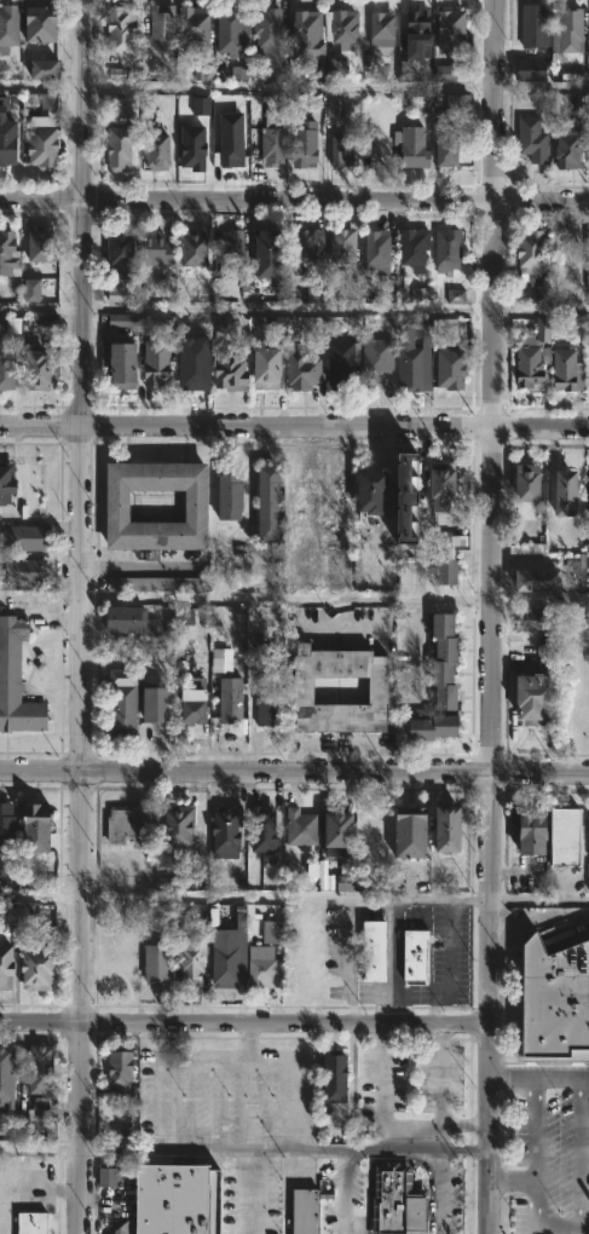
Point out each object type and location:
building: (47, 23)
building: (119, 24)
building: (195, 24)
building: (164, 25)
building: (529, 25)
building: (10, 27)
building: (271, 27)
building: (336, 27)
building: (414, 27)
building: (232, 28)
building: (445, 28)
building: (377, 30)
building: (564, 30)
building: (306, 33)
building: (336, 68)
building: (526, 68)
building: (50, 69)
building: (405, 70)
building: (203, 73)
building: (238, 73)
building: (318, 73)
building: (445, 73)
road: (294, 90)
building: (112, 99)
building: (47, 100)
building: (200, 105)
building: (452, 105)
building: (334, 106)
building: (529, 139)
building: (270, 140)
building: (10, 144)
building: (301, 144)
building: (565, 145)
building: (45, 146)
building: (229, 146)
building: (408, 148)
building: (154, 149)
building: (190, 149)
building: (449, 149)
building: (122, 150)
building: (339, 152)
road: (294, 200)
building: (227, 240)
building: (44, 243)
building: (409, 246)
building: (191, 247)
building: (152, 248)
building: (337, 248)
building: (304, 249)
building: (371, 250)
building: (443, 250)
building: (525, 254)
building: (10, 255)
building: (264, 255)
building: (117, 265)
building: (585, 266)
building: (313, 288)
building: (30, 290)
building: (418, 295)
building: (455, 296)
road: (41, 308)
road: (541, 312)
building: (48, 321)
building: (125, 323)
building: (542, 330)
building: (447, 340)
building: (374, 357)
building: (300, 359)
building: (408, 362)
building: (158, 363)
building: (10, 365)
building: (123, 365)
building: (527, 365)
building: (336, 367)
building: (560, 368)
building: (229, 369)
building: (265, 369)
building: (450, 369)
building: (44, 371)
building: (588, 371)
road: (81, 385)
road: (493, 385)
road: (294, 426)
building: (8, 482)
building: (521, 485)
building: (439, 489)
building: (368, 494)
building: (556, 494)
building: (224, 496)
building: (296, 496)
building: (405, 497)
building: (585, 497)
building: (262, 502)
building: (110, 506)
building: (25, 538)
building: (587, 538)
building: (454, 541)
building: (526, 549)
building: (574, 569)
building: (28, 570)
building: (439, 572)
building: (530, 581)
building: (158, 584)
road: (40, 599)
road: (335, 599)
building: (183, 617)
building: (526, 621)
building: (126, 622)
building: (547, 651)
building: (220, 659)
building: (440, 663)
building: (16, 684)
building: (373, 690)
building: (530, 697)
building: (230, 699)
building: (151, 704)
building: (186, 707)
building: (123, 709)
building: (265, 709)
building: (428, 728)
road: (294, 771)
building: (8, 825)
building: (177, 825)
building: (131, 826)
building: (37, 828)
building: (296, 828)
building: (585, 829)
building: (227, 831)
building: (259, 831)
building: (441, 831)
building: (329, 832)
building: (406, 834)
building: (522, 836)
building: (555, 837)
building: (10, 876)
building: (169, 882)
building: (343, 882)
road: (40, 895)
road: (212, 896)
road: (353, 900)
road: (539, 903)
building: (374, 951)
building: (412, 953)
building: (225, 957)
building: (189, 958)
building: (155, 963)
building: (7, 965)
building: (40, 969)
building: (261, 974)
building: (553, 999)
road: (81, 1002)
road: (490, 1002)
road: (40, 1027)
road: (285, 1030)
building: (115, 1067)
building: (42, 1069)
building: (10, 1074)
road: (539, 1074)
building: (329, 1077)
road: (440, 1089)
road: (156, 1090)
road: (382, 1090)
road: (249, 1131)
building: (125, 1135)
road: (40, 1148)
road: (393, 1148)
road: (464, 1148)
road: (577, 1151)
parking lot: (549, 1163)
building: (106, 1177)
road: (510, 1177)
road: (532, 1178)
road: (439, 1190)
road: (345, 1192)
building: (177, 1200)
building: (391, 1200)
building: (304, 1207)
building: (35, 1222)

